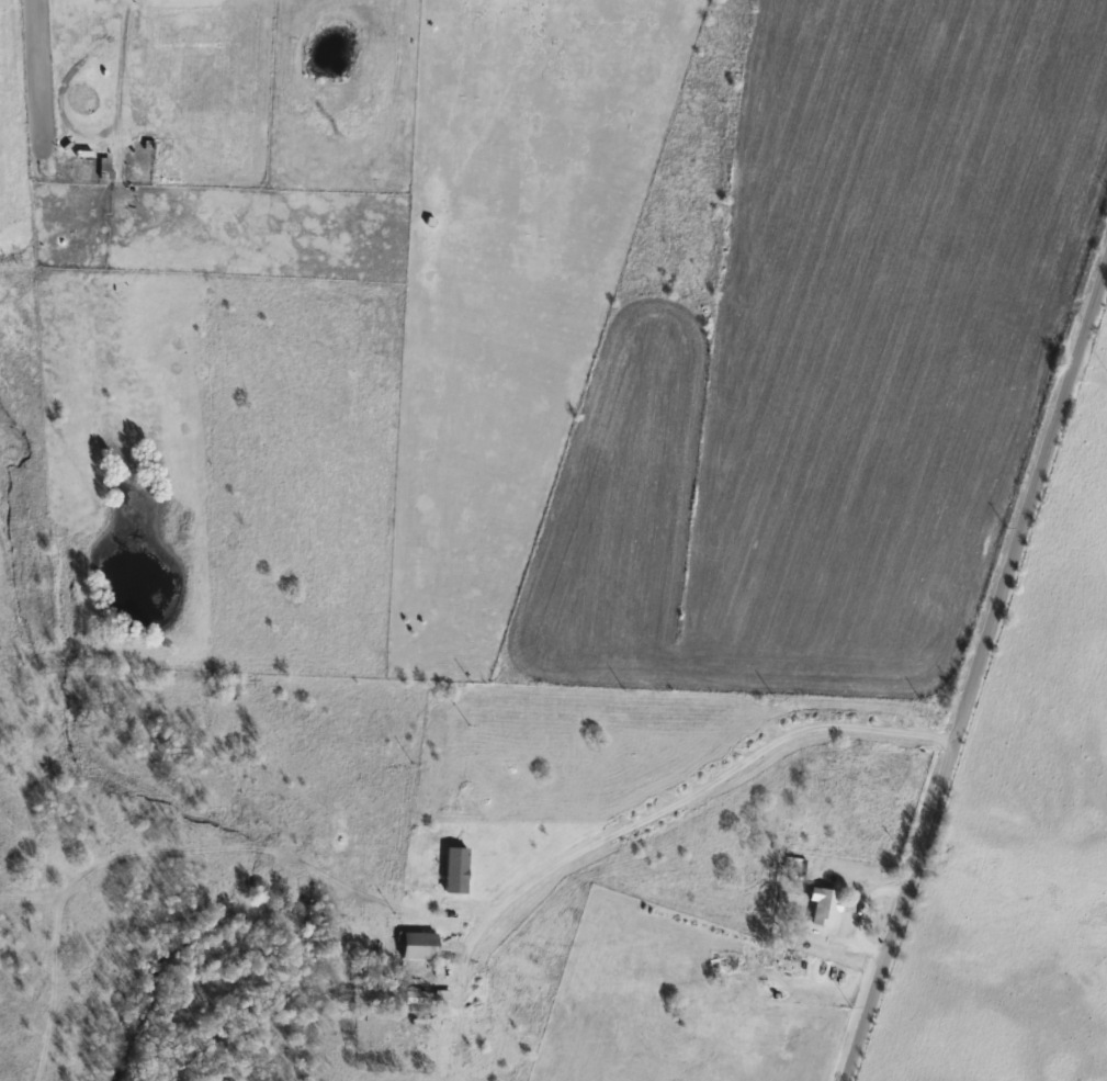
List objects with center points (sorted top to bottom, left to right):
road: (124, 34)
road: (975, 673)
road: (715, 777)
building: (823, 907)
building: (418, 945)
building: (756, 966)
building: (415, 998)

